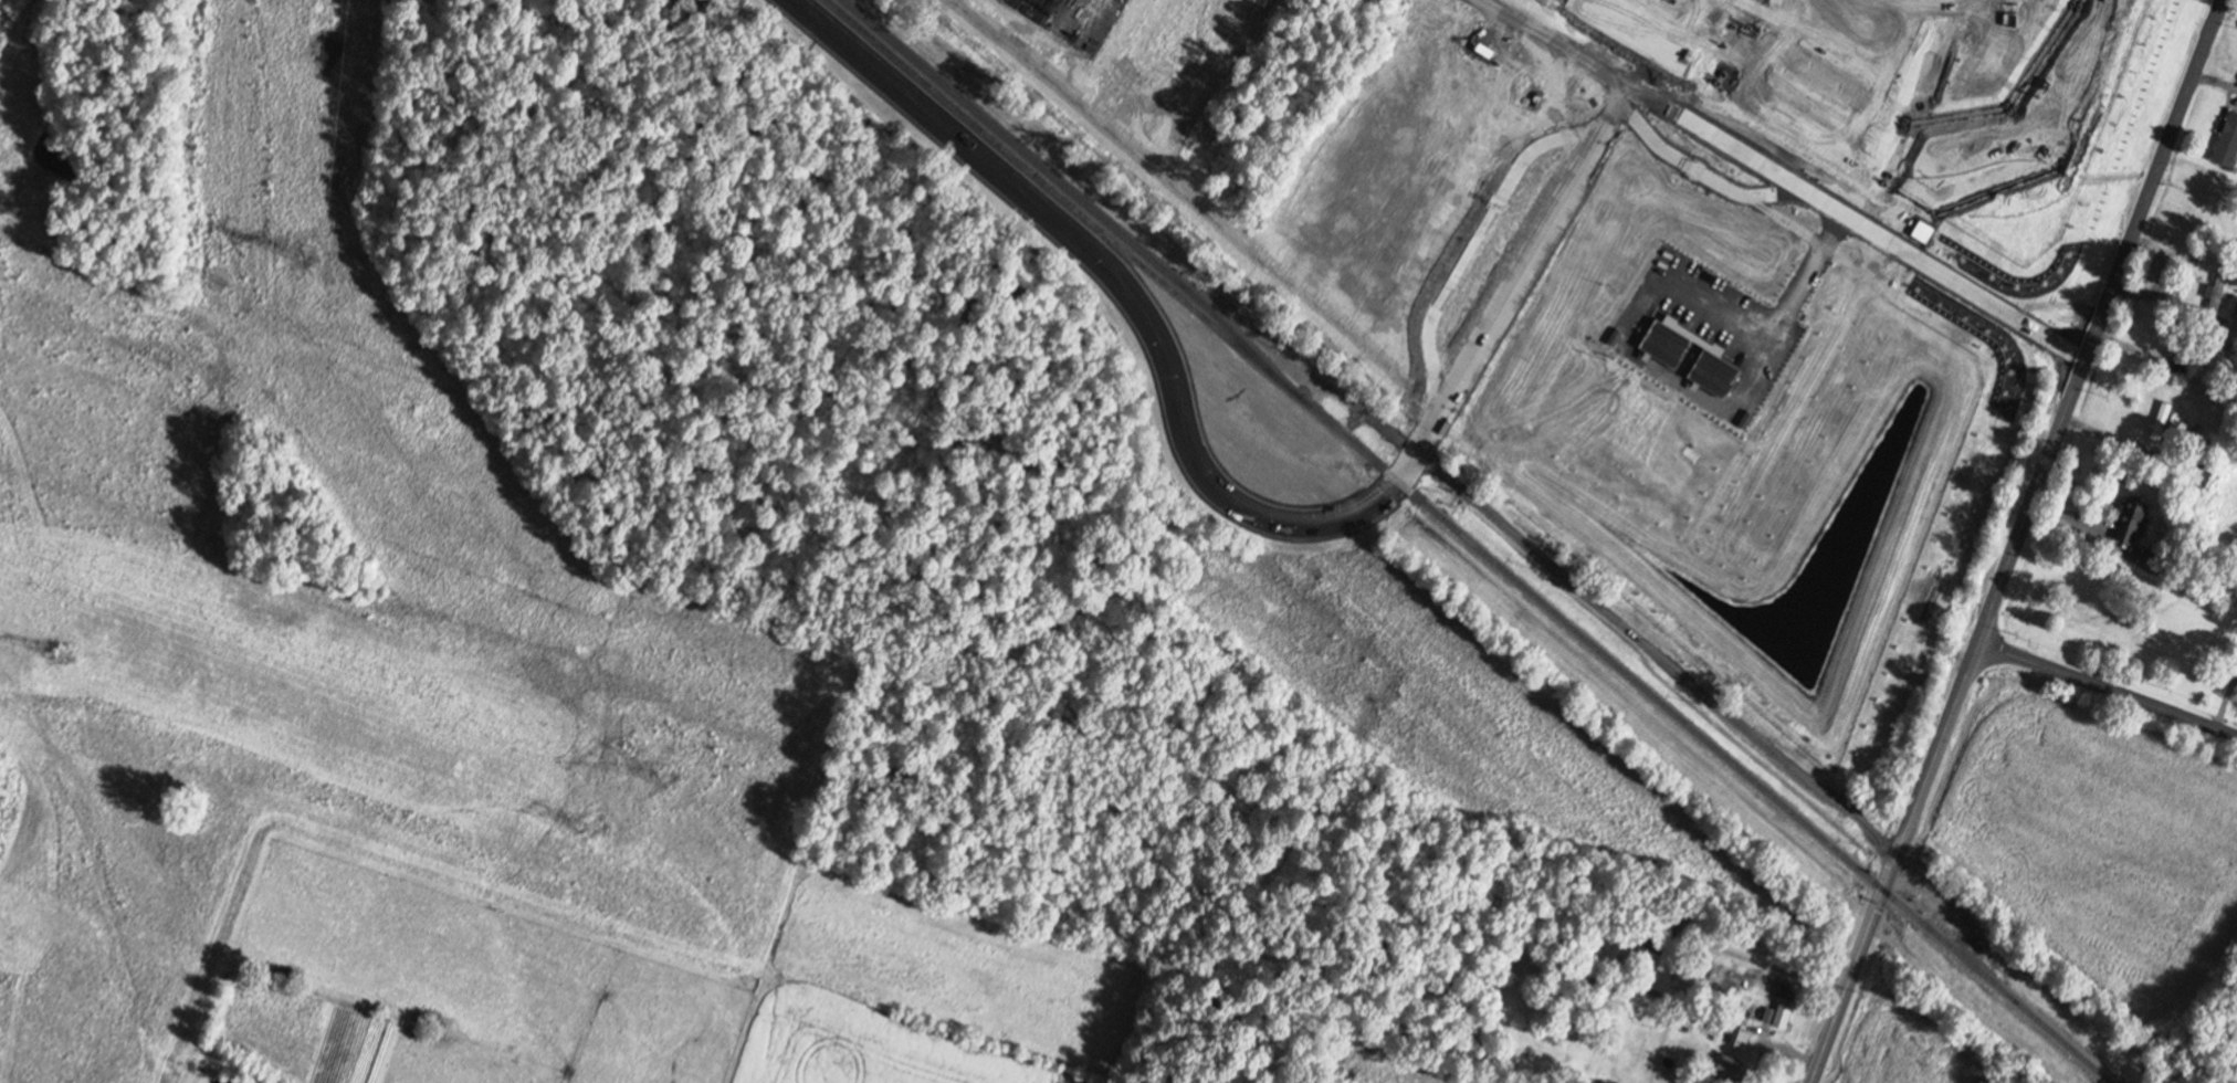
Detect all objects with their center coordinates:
building: (2228, 141)
road: (1779, 180)
building: (1610, 192)
railway: (1093, 209)
railway: (1081, 213)
power tower: (311, 256)
power tower: (219, 280)
building: (2220, 288)
road: (2098, 318)
building: (2235, 322)
building: (2182, 359)
building: (2161, 422)
building: (2128, 527)
building: (2152, 562)
road: (2107, 684)
railway: (1724, 754)
power tower: (665, 777)
power tower: (10, 811)
power tower: (596, 829)
road: (1892, 860)
building: (1667, 955)
building: (1782, 1016)
building: (1729, 1069)

